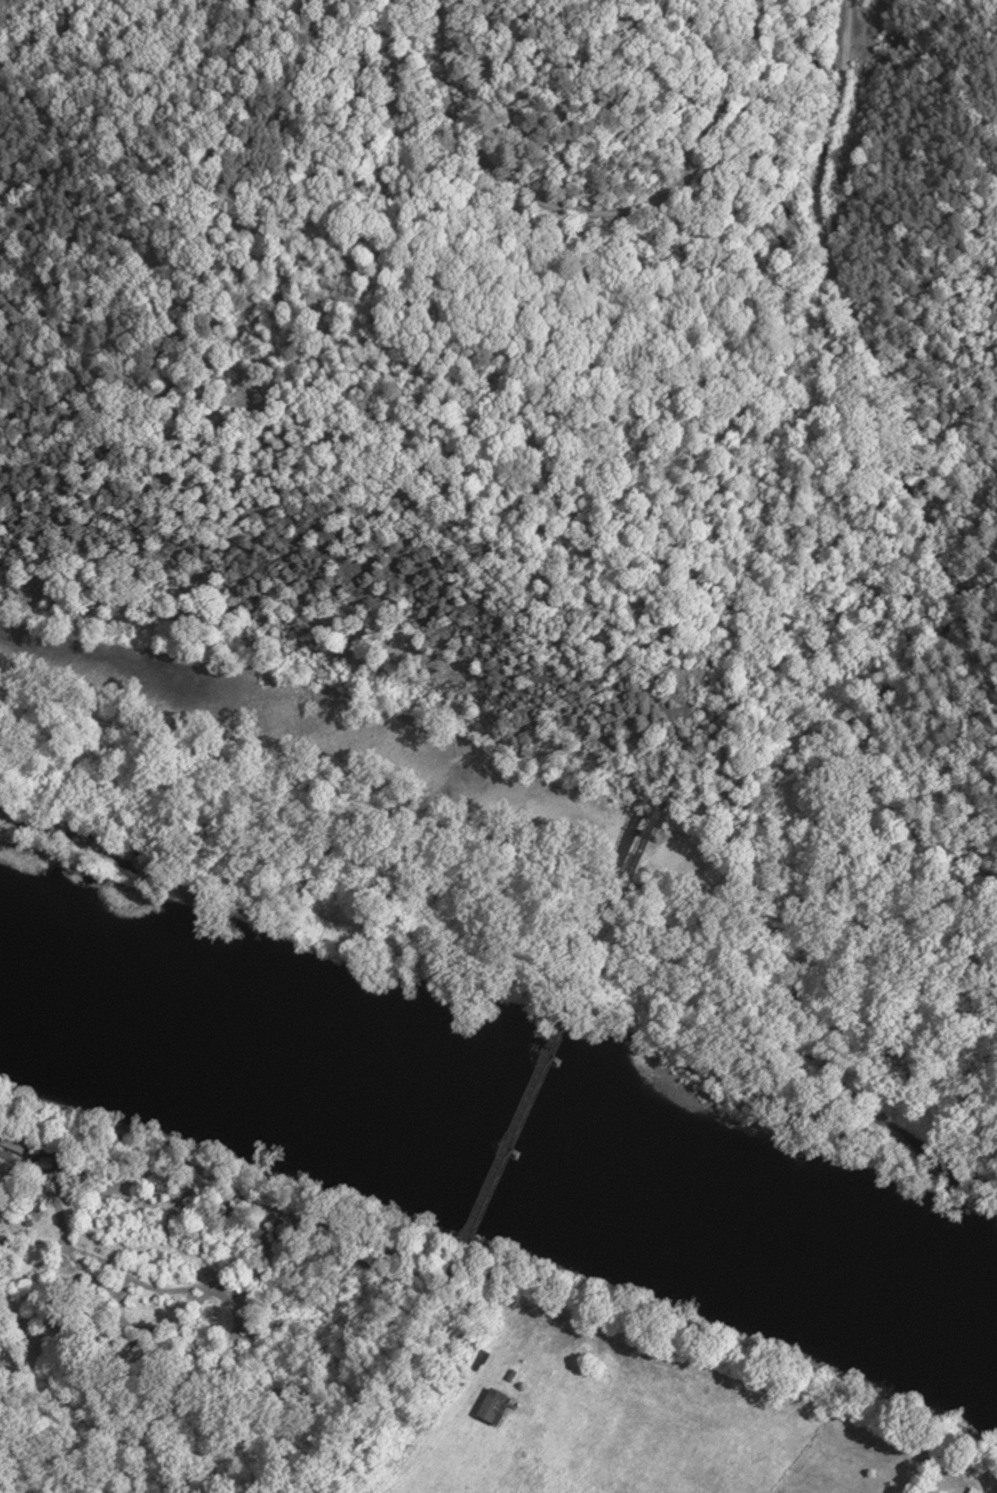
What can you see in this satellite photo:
road: (594, 214)
road: (917, 469)
road: (498, 848)
river: (498, 1137)
building: (494, 1408)
building: (972, 1491)

